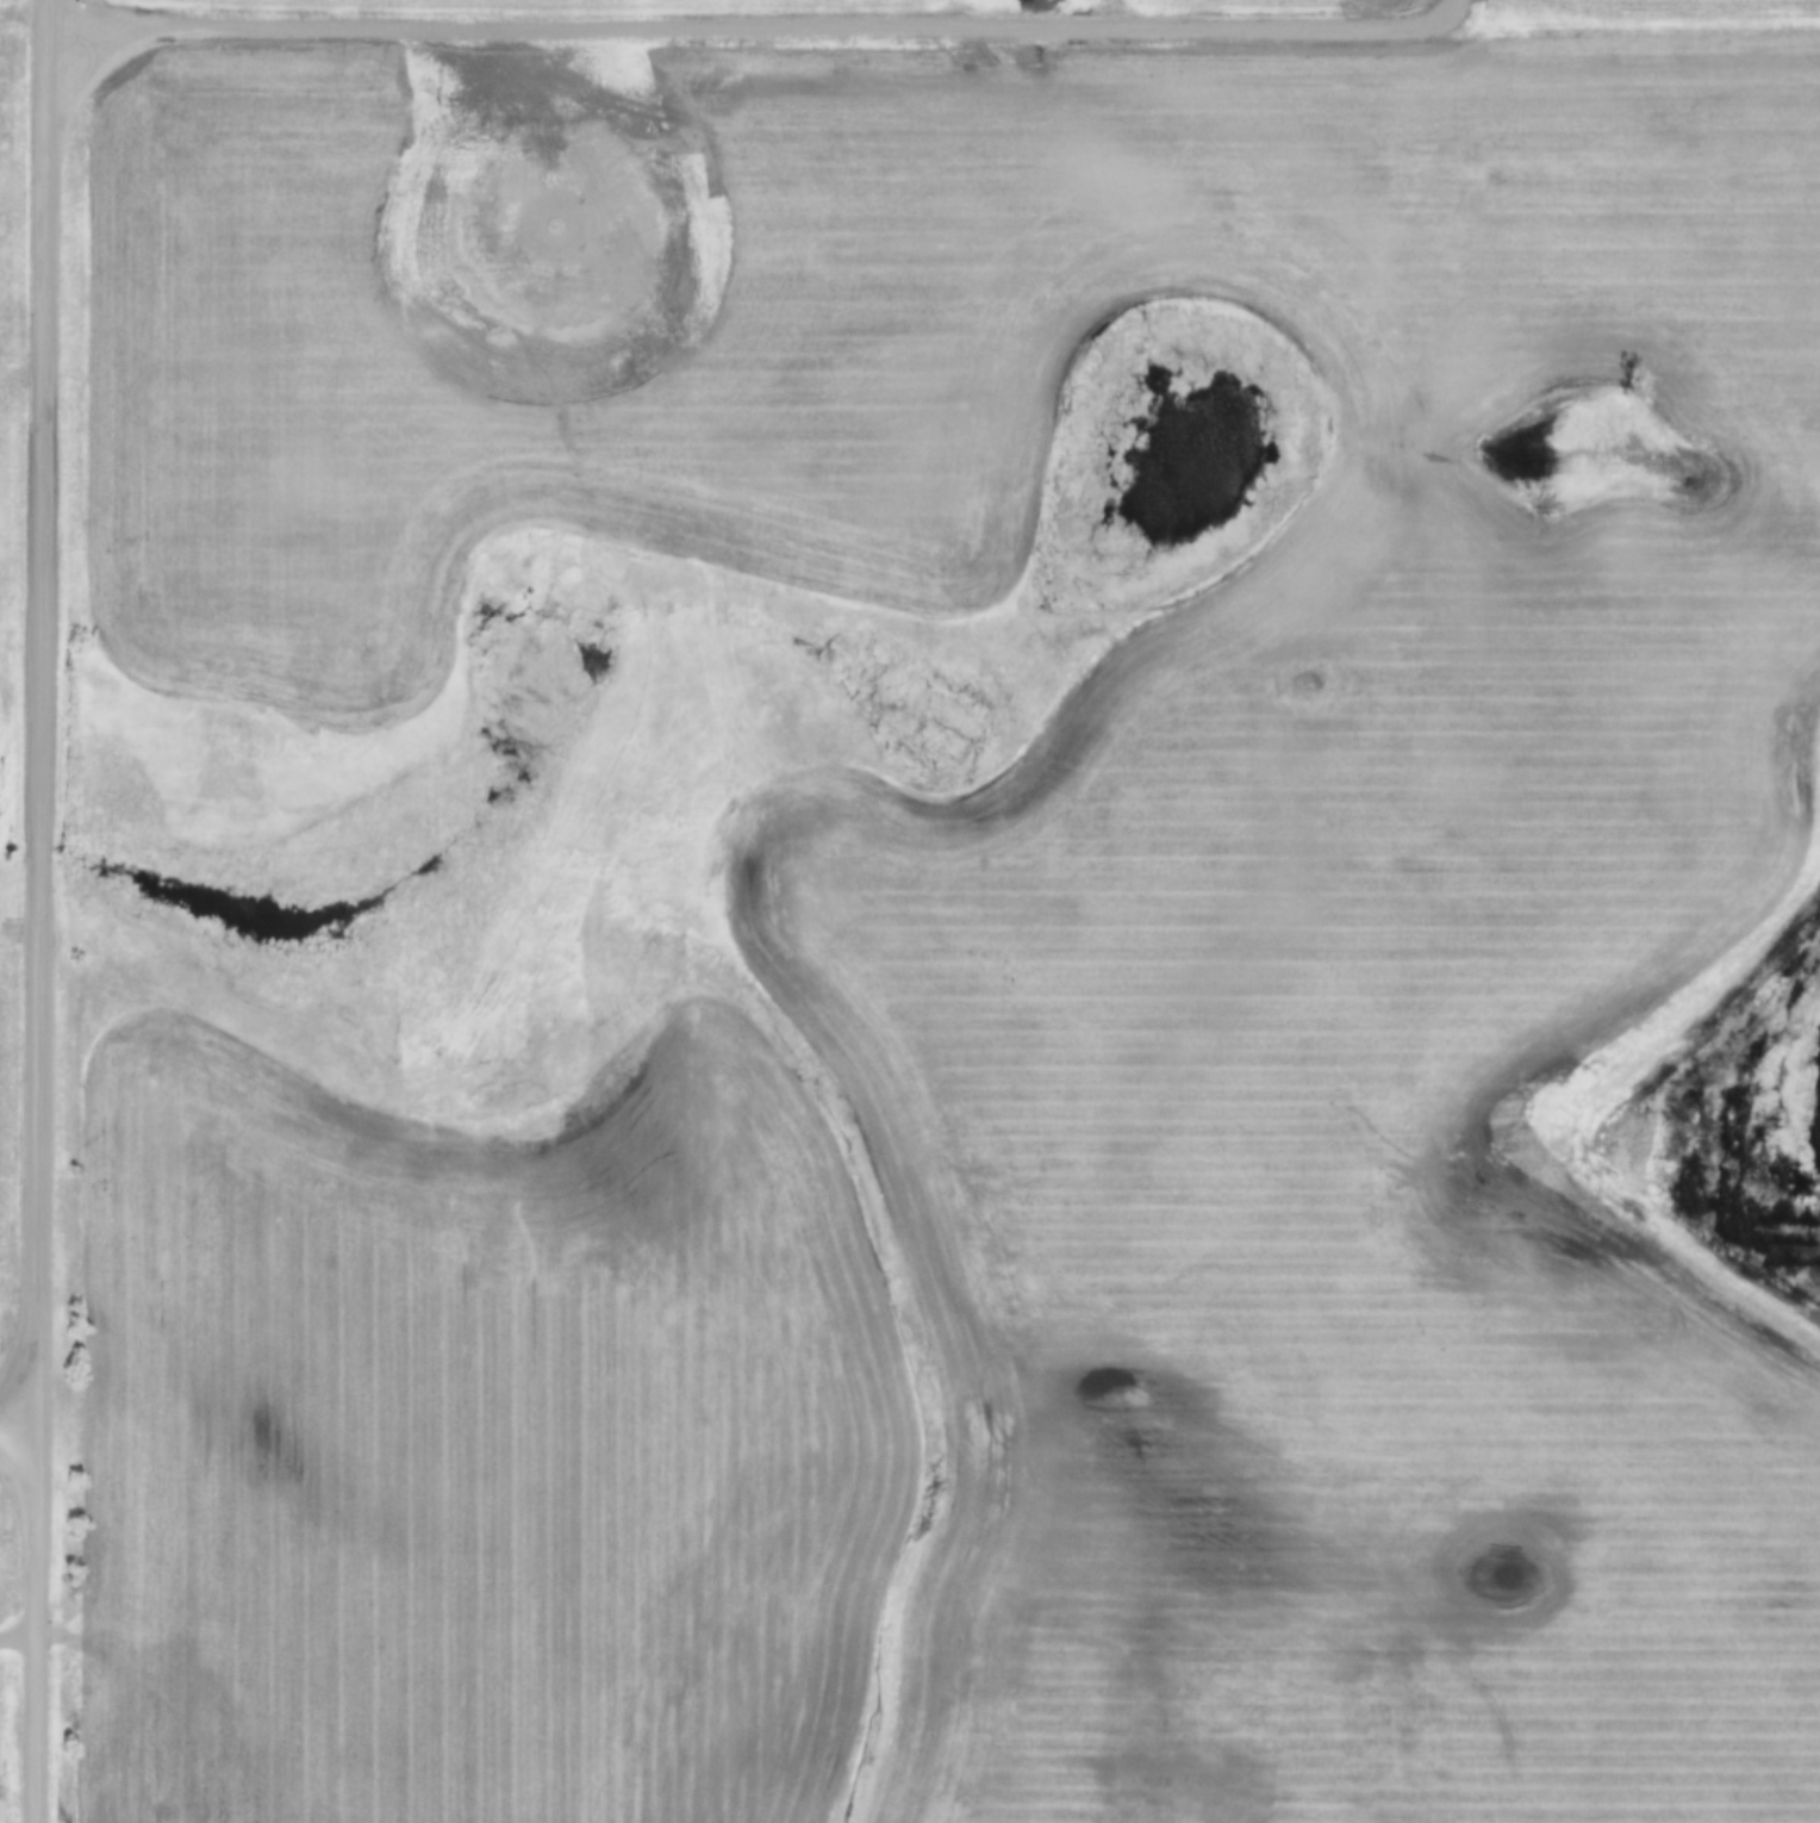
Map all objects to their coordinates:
road: (23, 63)
wind turbine: (555, 229)
road: (39, 910)
road: (18, 1637)

